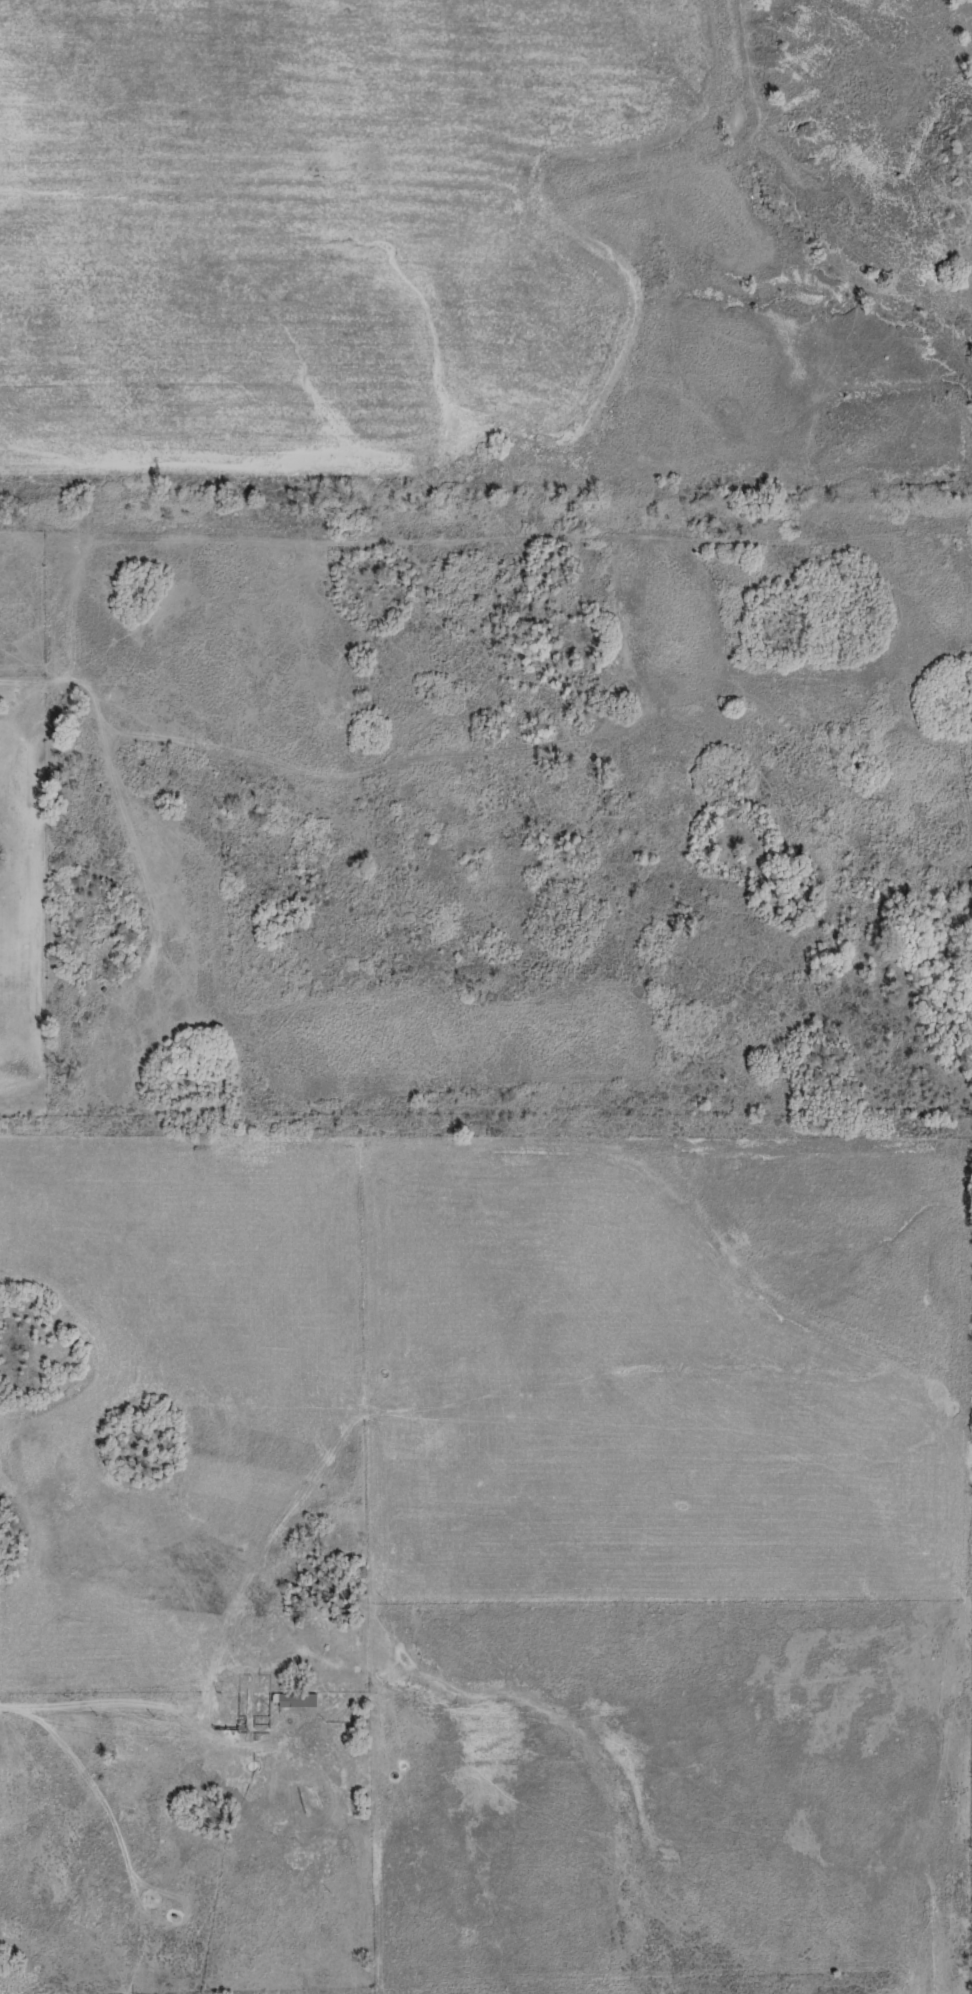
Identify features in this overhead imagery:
building: (293, 1699)

